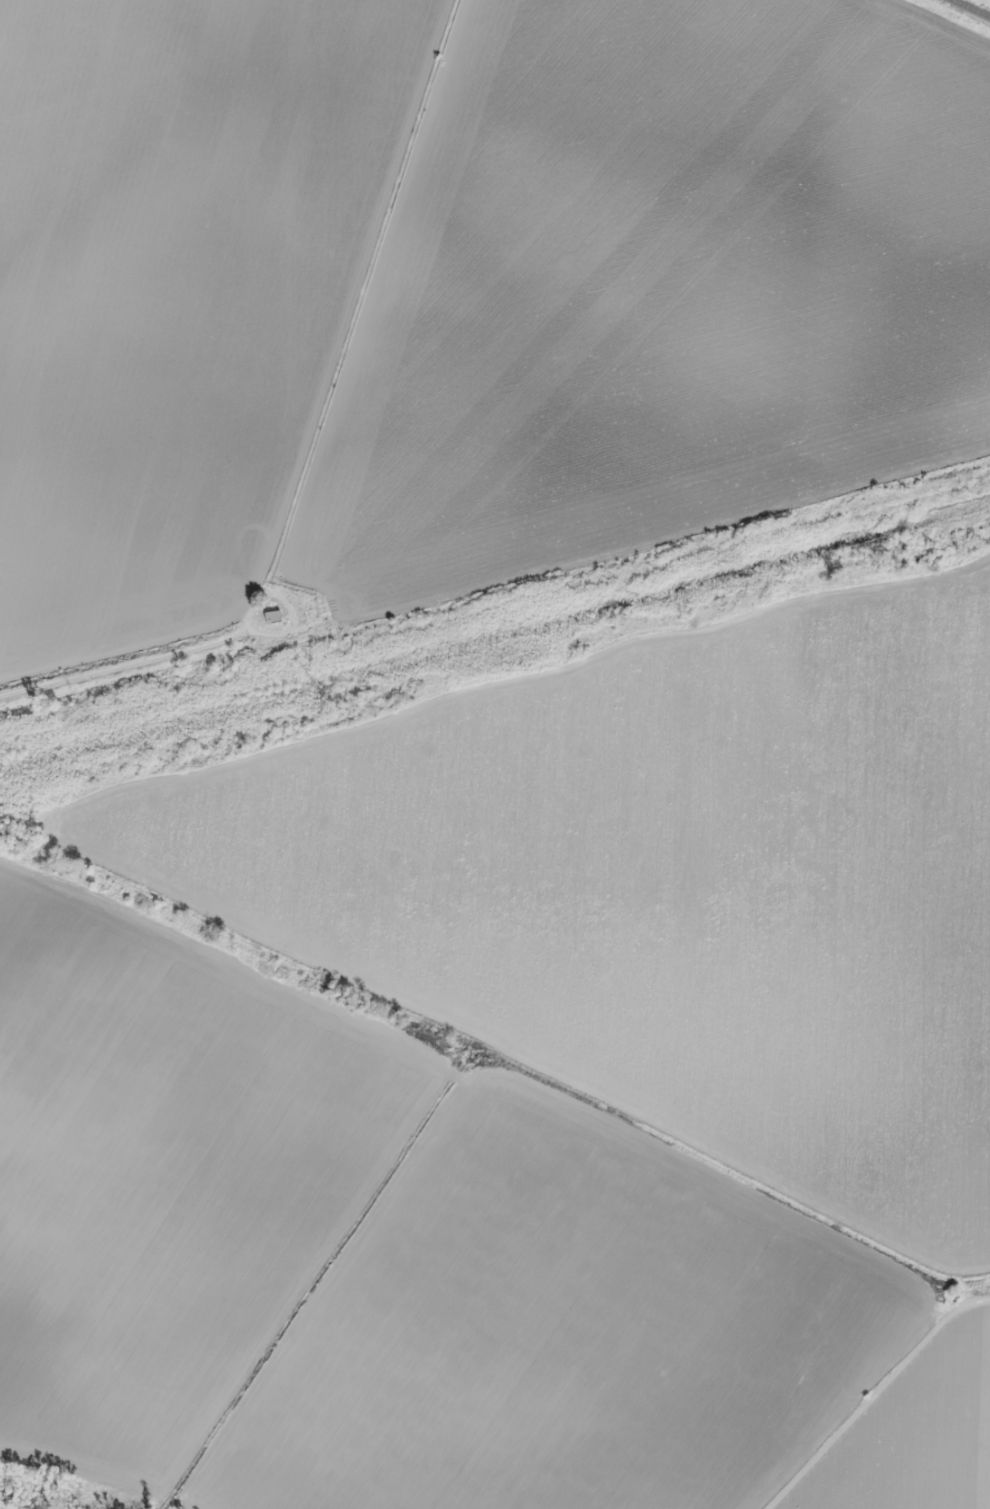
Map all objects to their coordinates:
railway: (972, 8)

